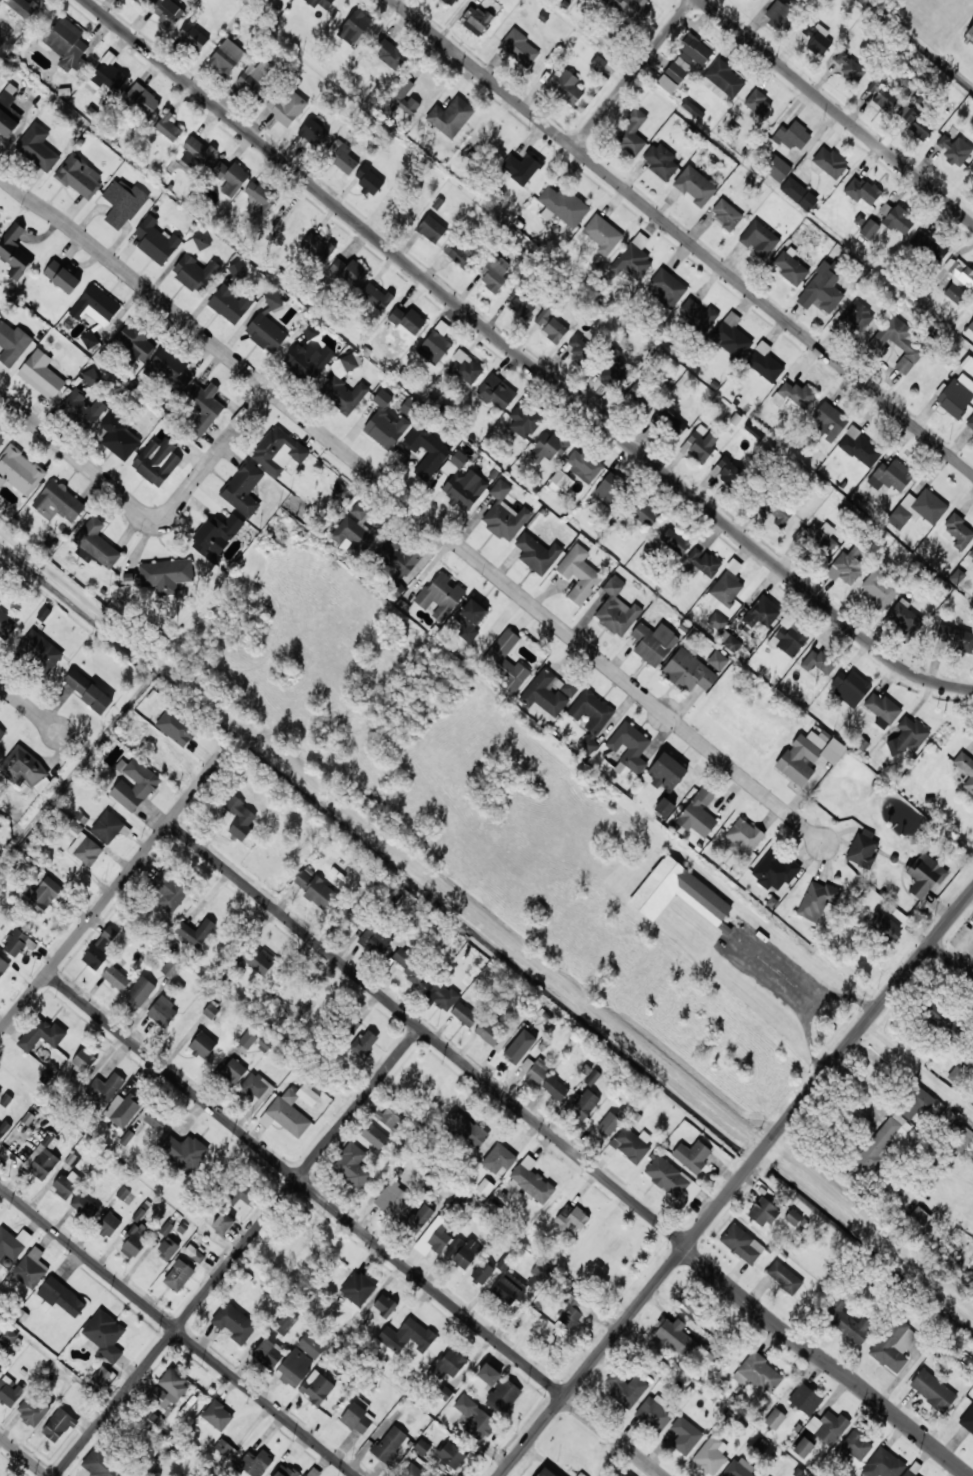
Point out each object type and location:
building: (753, 0)
building: (138, 1)
building: (450, 2)
building: (320, 3)
building: (22, 7)
building: (632, 8)
building: (167, 11)
building: (780, 16)
building: (476, 19)
building: (354, 27)
building: (970, 30)
building: (193, 36)
building: (817, 38)
building: (67, 44)
building: (519, 48)
building: (389, 53)
building: (227, 56)
building: (684, 62)
building: (598, 64)
building: (850, 67)
road: (634, 73)
building: (108, 76)
building: (256, 79)
building: (722, 80)
building: (565, 86)
building: (874, 87)
building: (142, 99)
building: (401, 99)
building: (885, 99)
building: (758, 103)
building: (286, 107)
building: (692, 109)
road: (836, 111)
building: (451, 117)
building: (916, 123)
building: (169, 128)
building: (313, 132)
building: (633, 133)
building: (793, 135)
building: (37, 147)
building: (954, 149)
building: (197, 154)
building: (344, 158)
building: (661, 161)
building: (830, 162)
building: (522, 167)
building: (776, 168)
building: (972, 172)
building: (79, 175)
building: (231, 177)
building: (369, 179)
building: (692, 187)
building: (861, 190)
building: (798, 194)
building: (260, 196)
building: (123, 203)
building: (563, 206)
building: (726, 214)
building: (0, 215)
building: (899, 220)
building: (431, 229)
building: (869, 229)
building: (603, 235)
road: (683, 236)
building: (759, 239)
building: (156, 241)
building: (929, 246)
building: (317, 247)
building: (15, 252)
building: (460, 255)
building: (633, 258)
building: (195, 265)
building: (791, 267)
building: (237, 270)
building: (960, 271)
building: (349, 272)
building: (494, 273)
building: (62, 277)
building: (667, 287)
building: (822, 291)
building: (955, 293)
building: (376, 296)
building: (274, 300)
building: (522, 301)
building: (95, 304)
building: (231, 304)
building: (698, 314)
building: (856, 315)
building: (544, 317)
building: (408, 320)
building: (970, 324)
building: (309, 331)
building: (554, 331)
building: (266, 333)
building: (95, 336)
building: (732, 336)
building: (12, 343)
building: (135, 343)
building: (900, 344)
building: (580, 350)
road: (523, 357)
building: (308, 361)
building: (765, 363)
building: (465, 367)
building: (171, 371)
building: (613, 374)
building: (41, 375)
building: (91, 376)
building: (343, 386)
building: (797, 394)
building: (498, 395)
building: (956, 395)
building: (203, 407)
building: (83, 408)
building: (409, 408)
building: (523, 422)
building: (829, 422)
building: (970, 422)
building: (385, 423)
building: (668, 423)
building: (972, 435)
building: (119, 438)
building: (1, 440)
building: (700, 444)
building: (550, 446)
building: (860, 448)
building: (278, 450)
building: (427, 450)
building: (157, 461)
building: (583, 465)
building: (19, 471)
building: (726, 471)
building: (891, 476)
building: (560, 478)
building: (461, 482)
building: (611, 488)
building: (244, 489)
building: (58, 502)
road: (412, 505)
building: (918, 509)
road: (143, 510)
building: (777, 511)
building: (360, 512)
building: (646, 513)
building: (504, 514)
building: (957, 532)
building: (216, 536)
building: (352, 536)
building: (818, 538)
building: (675, 541)
building: (96, 544)
building: (537, 553)
building: (971, 553)
building: (704, 562)
building: (398, 563)
building: (846, 567)
building: (579, 574)
building: (165, 576)
building: (880, 587)
building: (725, 590)
building: (440, 596)
building: (616, 609)
building: (760, 610)
building: (904, 616)
building: (470, 619)
building: (717, 621)
building: (5, 624)
building: (957, 637)
building: (790, 638)
building: (729, 641)
building: (653, 643)
building: (40, 650)
building: (717, 660)
building: (820, 661)
building: (506, 662)
building: (688, 672)
building: (850, 687)
building: (88, 691)
building: (549, 692)
road: (29, 707)
building: (882, 710)
building: (591, 717)
building: (176, 728)
building: (1, 735)
building: (907, 736)
building: (630, 746)
building: (808, 756)
building: (25, 768)
building: (965, 769)
building: (667, 772)
building: (135, 786)
building: (664, 807)
building: (699, 813)
building: (240, 818)
building: (108, 826)
building: (743, 838)
building: (79, 839)
building: (863, 849)
building: (776, 870)
building: (925, 875)
road: (113, 890)
building: (317, 890)
building: (169, 891)
building: (678, 893)
building: (42, 895)
building: (817, 900)
building: (357, 915)
building: (887, 926)
building: (196, 932)
building: (375, 939)
building: (100, 948)
building: (257, 960)
road: (952, 960)
building: (3, 966)
building: (410, 967)
building: (170, 969)
building: (116, 978)
building: (140, 991)
building: (441, 996)
building: (211, 1011)
building: (163, 1012)
building: (465, 1015)
building: (942, 1018)
building: (352, 1026)
building: (489, 1033)
building: (42, 1034)
road: (427, 1035)
building: (247, 1039)
building: (364, 1043)
building: (202, 1045)
building: (512, 1050)
building: (84, 1060)
building: (972, 1063)
building: (536, 1069)
building: (233, 1071)
building: (592, 1077)
building: (254, 1085)
building: (555, 1087)
building: (105, 1088)
building: (0, 1094)
building: (308, 1095)
building: (584, 1104)
building: (915, 1104)
building: (123, 1109)
building: (289, 1113)
building: (390, 1115)
building: (155, 1120)
building: (609, 1124)
building: (466, 1128)
building: (4, 1129)
building: (373, 1135)
building: (127, 1137)
building: (961, 1138)
building: (883, 1141)
building: (632, 1144)
building: (183, 1151)
building: (692, 1156)
building: (45, 1157)
building: (499, 1159)
building: (352, 1165)
building: (667, 1177)
building: (532, 1180)
building: (66, 1184)
road: (736, 1184)
road: (306, 1185)
building: (242, 1193)
building: (83, 1205)
building: (764, 1212)
building: (920, 1216)
building: (793, 1217)
building: (419, 1218)
building: (573, 1219)
building: (223, 1224)
building: (109, 1225)
building: (166, 1228)
building: (740, 1237)
building: (439, 1239)
building: (136, 1240)
building: (13, 1243)
building: (168, 1248)
road: (237, 1251)
building: (463, 1252)
building: (194, 1254)
building: (31, 1268)
building: (482, 1272)
building: (178, 1275)
building: (538, 1276)
building: (784, 1277)
building: (357, 1288)
building: (509, 1289)
building: (61, 1297)
building: (692, 1304)
building: (385, 1305)
building: (570, 1311)
building: (847, 1321)
building: (285, 1322)
building: (234, 1323)
road: (179, 1330)
building: (105, 1335)
building: (407, 1336)
building: (674, 1336)
building: (8, 1337)
building: (893, 1345)
building: (311, 1346)
building: (1, 1350)
building: (267, 1352)
building: (710, 1352)
road: (825, 1362)
building: (449, 1363)
building: (295, 1367)
building: (0, 1372)
building: (489, 1374)
building: (758, 1374)
building: (101, 1376)
building: (168, 1388)
building: (316, 1388)
building: (627, 1389)
building: (932, 1390)
building: (9, 1392)
building: (503, 1396)
building: (805, 1399)
building: (32, 1410)
building: (654, 1413)
building: (149, 1415)
building: (217, 1415)
building: (358, 1416)
building: (474, 1418)
building: (775, 1419)
building: (967, 1421)
building: (58, 1425)
building: (828, 1427)
road: (613, 1436)
building: (685, 1436)
building: (389, 1444)
building: (856, 1445)
building: (803, 1448)
building: (226, 1449)
road: (25, 1455)
building: (451, 1455)
building: (711, 1456)
building: (255, 1463)
building: (883, 1464)
building: (102, 1465)
building: (740, 1468)
building: (913, 1469)
building: (286, 1471)
building: (413, 1471)
building: (313, 1472)
building: (545, 1472)
building: (622, 1474)

